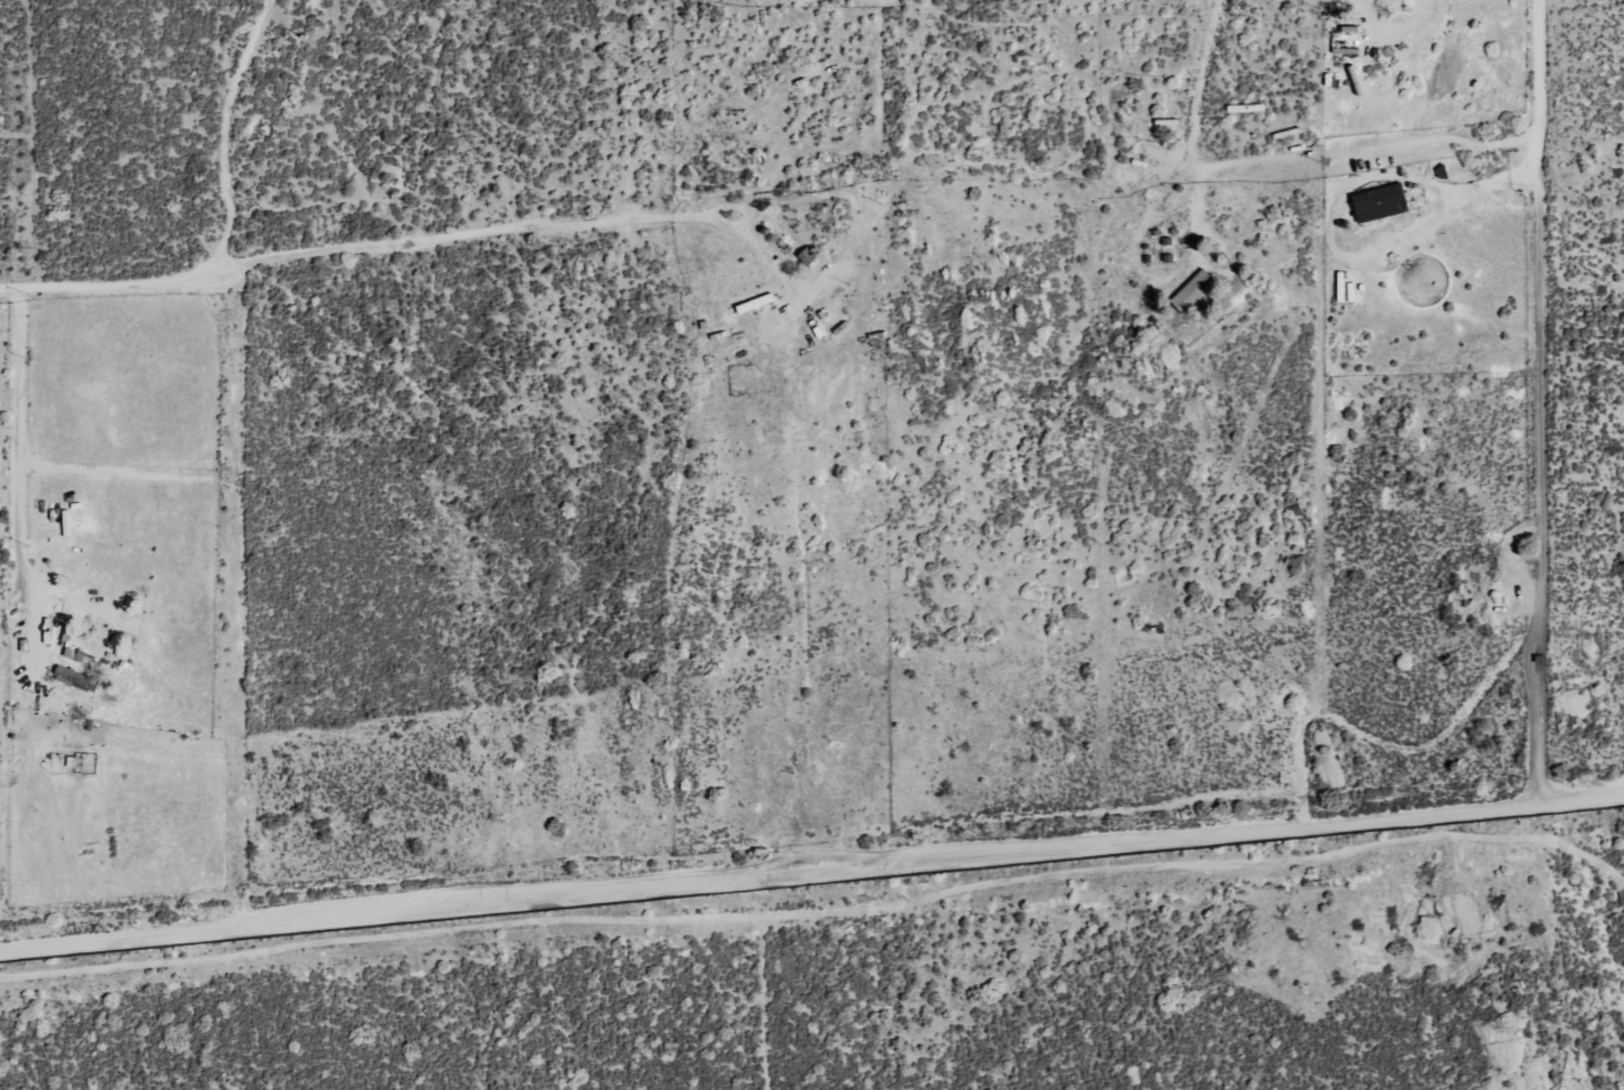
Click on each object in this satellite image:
building: (1380, 203)
building: (1193, 292)
building: (72, 678)
road: (811, 865)
road: (819, 916)

